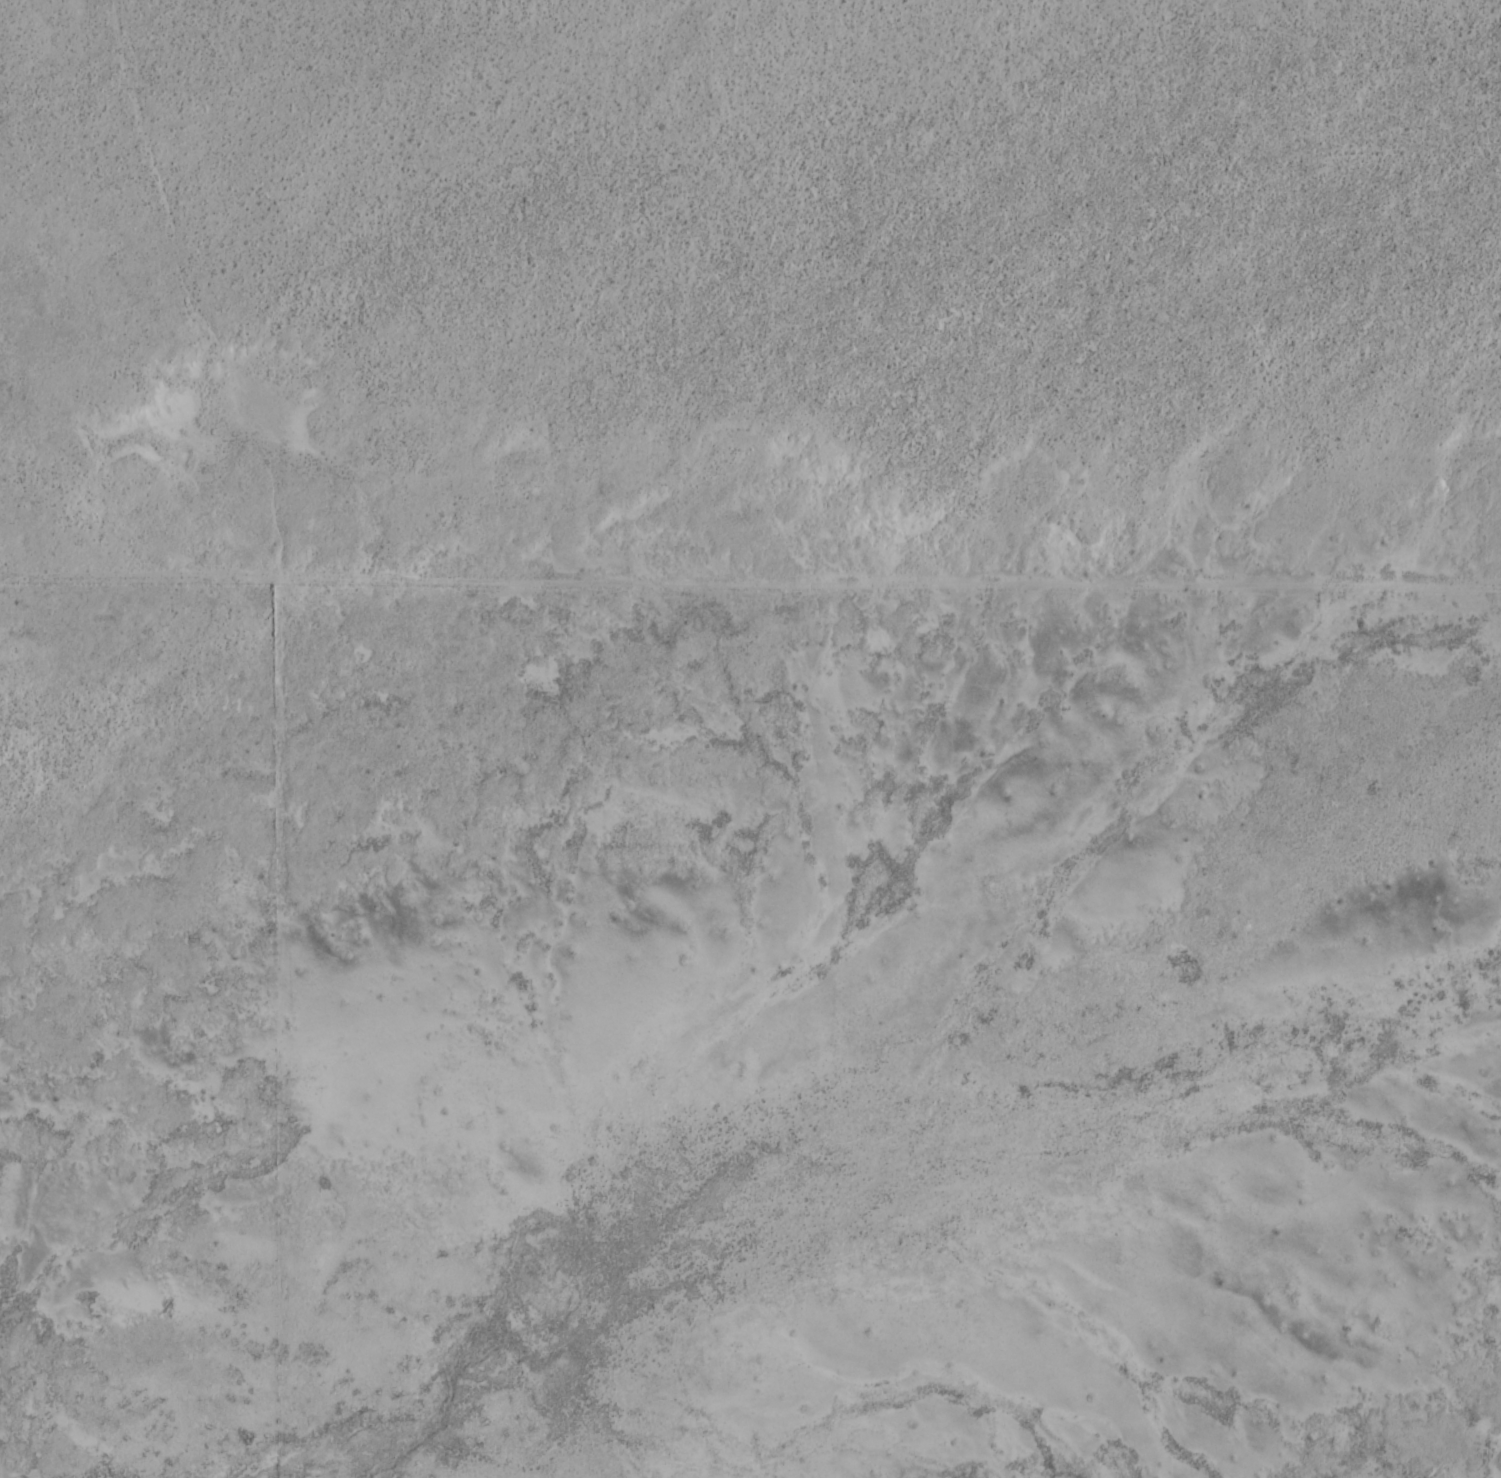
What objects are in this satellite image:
road: (750, 602)

